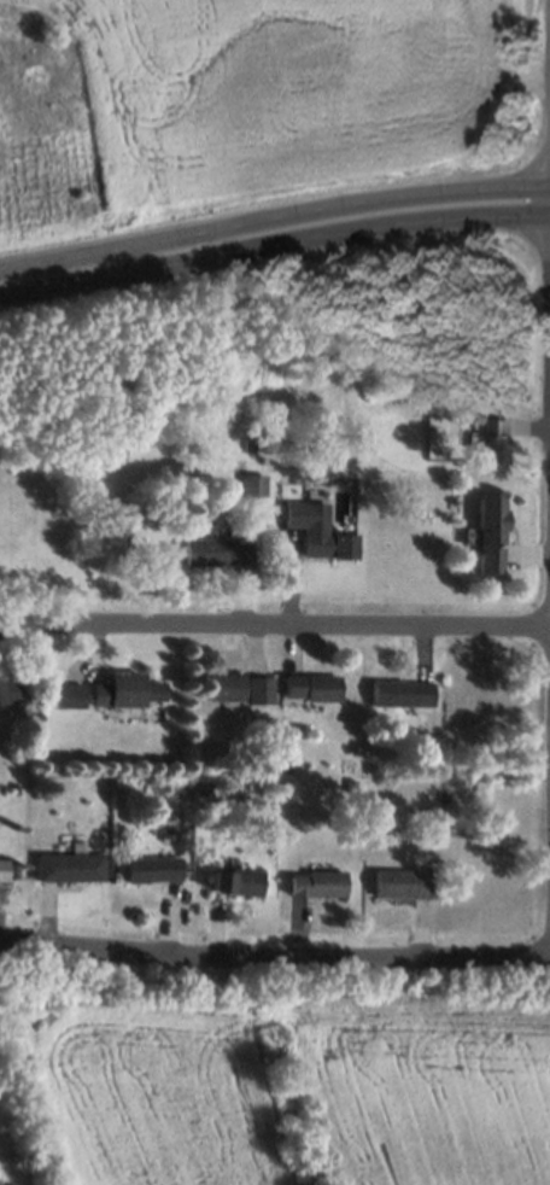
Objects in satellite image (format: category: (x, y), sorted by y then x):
road: (273, 215)
road: (274, 244)
building: (493, 438)
building: (252, 486)
building: (318, 531)
building: (491, 533)
building: (215, 550)
road: (274, 629)
building: (224, 685)
building: (310, 687)
building: (10, 688)
building: (259, 689)
building: (128, 690)
building: (400, 693)
building: (69, 865)
building: (4, 868)
building: (151, 868)
building: (235, 880)
building: (316, 882)
building: (400, 882)
road: (274, 956)
crop: (285, 1073)

